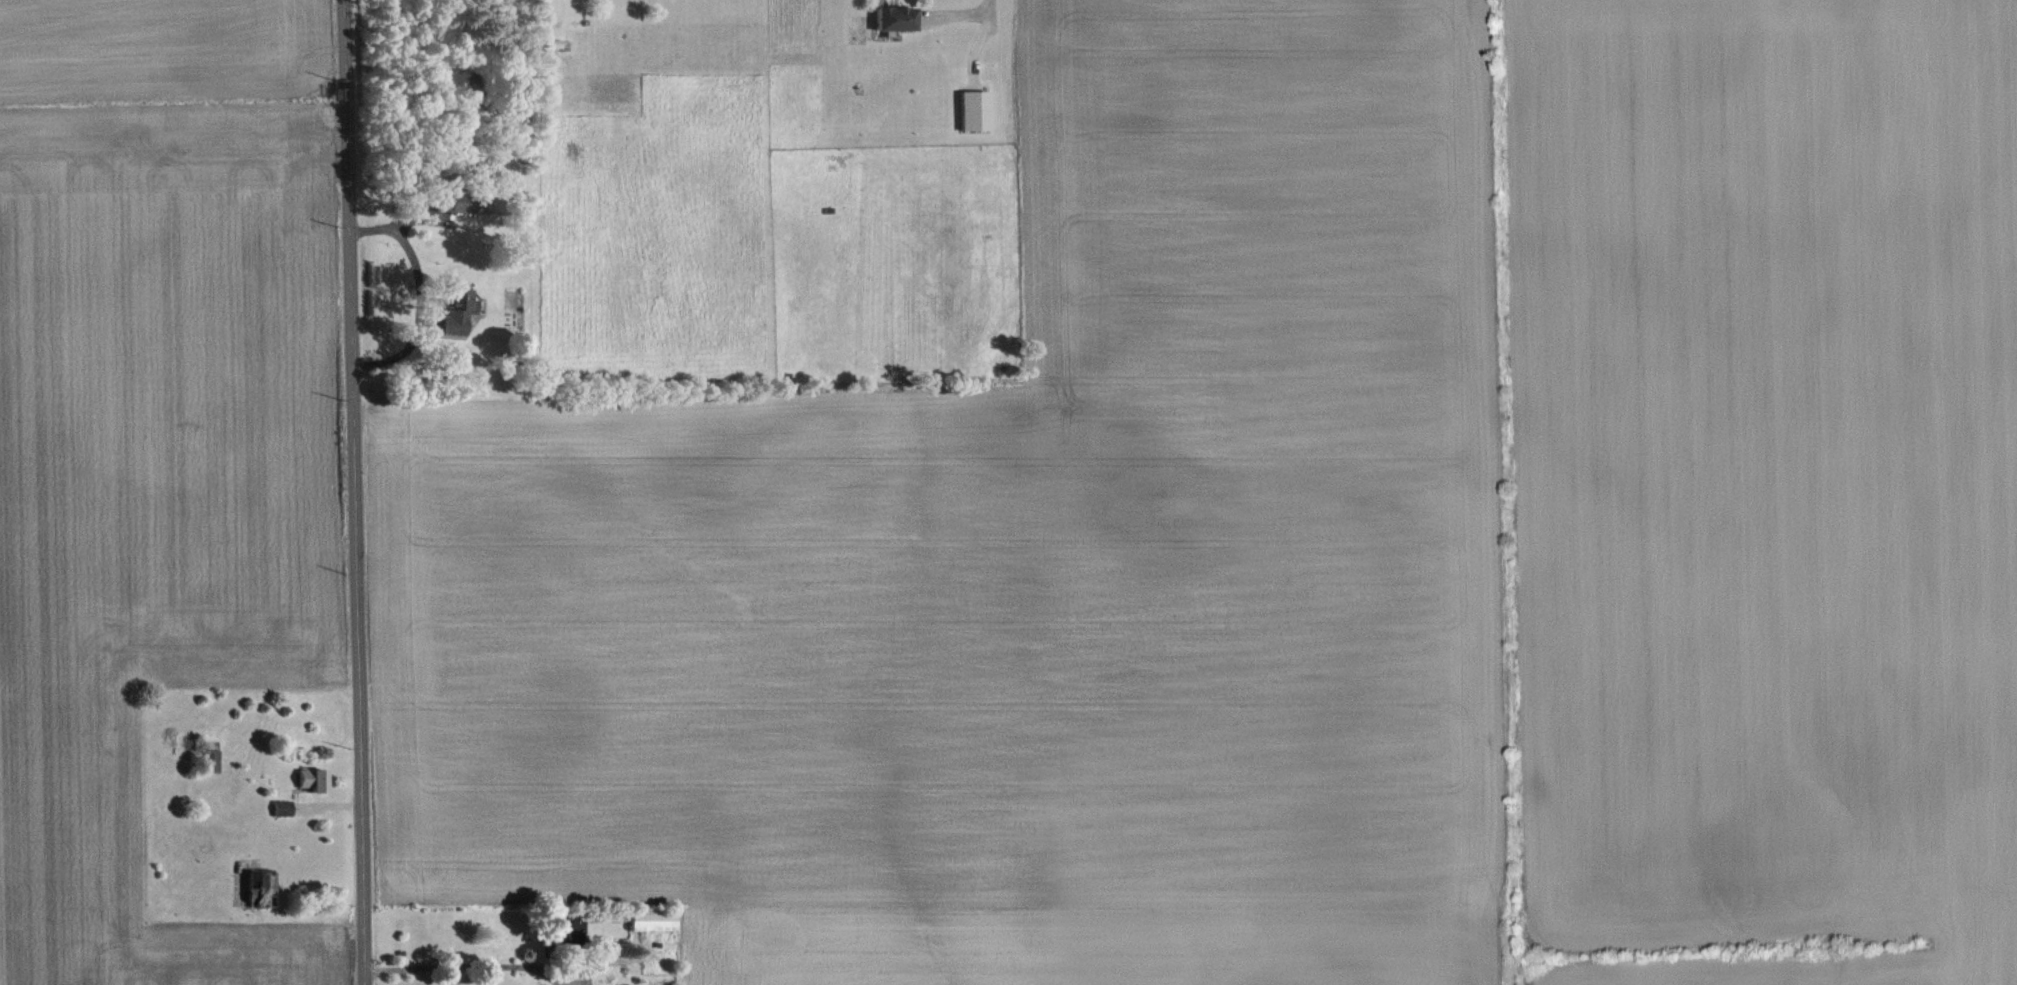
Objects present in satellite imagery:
building: (895, 17)
building: (463, 201)
building: (457, 308)
road: (351, 492)
building: (208, 759)
building: (312, 779)
building: (282, 807)
building: (262, 888)
building: (652, 919)
building: (569, 930)

